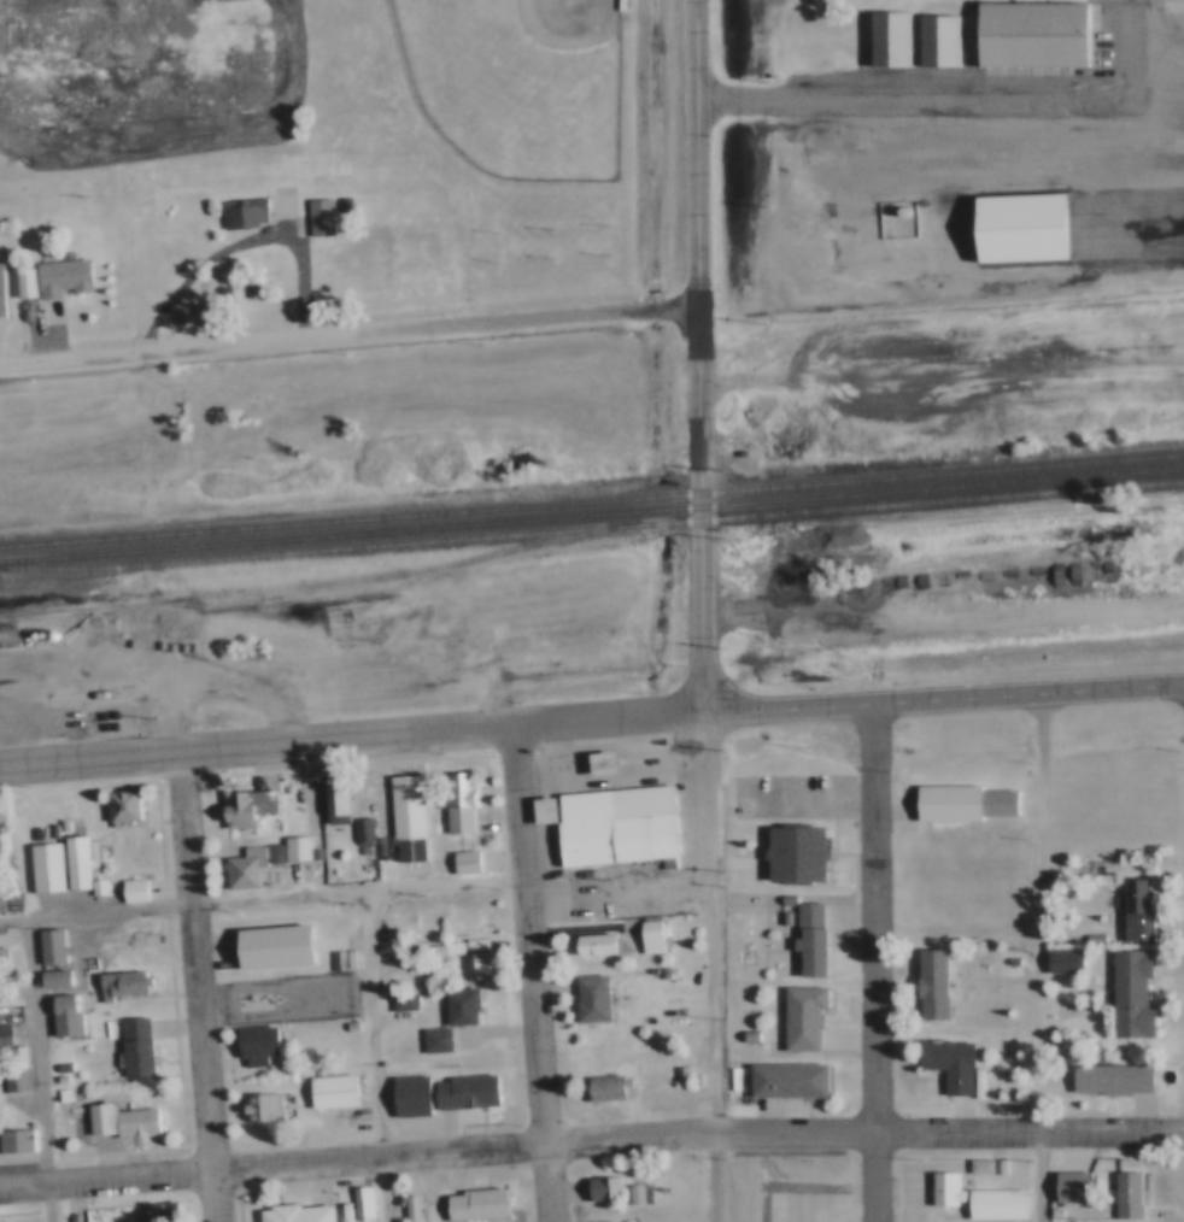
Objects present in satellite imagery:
building: (1030, 37)
building: (885, 41)
building: (934, 43)
park: (508, 81)
road: (934, 100)
storage tank: (893, 210)
building: (236, 211)
building: (315, 217)
building: (1020, 231)
building: (59, 278)
building: (22, 284)
building: (0, 305)
road: (351, 328)
road: (704, 356)
road: (944, 371)
building: (737, 454)
railway: (592, 499)
railway: (592, 513)
railway: (339, 577)
building: (2, 634)
silo: (2, 634)
road: (591, 719)
building: (599, 765)
building: (452, 801)
building: (332, 803)
building: (960, 805)
building: (121, 807)
building: (239, 809)
building: (540, 812)
building: (403, 818)
building: (614, 827)
building: (365, 829)
building: (357, 833)
building: (291, 848)
building: (793, 857)
building: (459, 862)
building: (72, 864)
building: (246, 864)
building: (43, 869)
building: (93, 887)
building: (129, 891)
road: (264, 898)
building: (783, 901)
building: (0, 907)
building: (482, 911)
building: (1131, 912)
building: (779, 918)
building: (646, 934)
building: (807, 940)
building: (469, 944)
building: (447, 946)
building: (592, 946)
building: (47, 947)
building: (272, 948)
building: (330, 957)
building: (342, 957)
road: (1044, 958)
building: (1060, 958)
building: (0, 962)
road: (879, 963)
building: (475, 964)
road: (719, 965)
road: (537, 974)
building: (51, 979)
building: (118, 985)
building: (928, 987)
road: (199, 988)
building: (1126, 997)
building: (588, 998)
building: (256, 999)
building: (398, 999)
building: (458, 1006)
building: (61, 1016)
building: (799, 1018)
building: (345, 1024)
building: (2, 1036)
building: (745, 1036)
building: (430, 1040)
building: (253, 1046)
building: (130, 1048)
road: (376, 1056)
building: (945, 1064)
building: (57, 1065)
road: (43, 1069)
building: (283, 1076)
building: (676, 1076)
building: (57, 1077)
building: (10, 1080)
building: (1108, 1080)
building: (785, 1081)
building: (74, 1088)
building: (603, 1088)
building: (328, 1091)
building: (463, 1092)
building: (58, 1094)
building: (404, 1095)
building: (257, 1106)
building: (117, 1122)
building: (12, 1140)
road: (591, 1142)
building: (975, 1165)
building: (992, 1165)
building: (598, 1188)
building: (1068, 1188)
building: (940, 1191)
building: (629, 1194)
building: (1121, 1195)
building: (356, 1203)
building: (365, 1203)
building: (991, 1204)
building: (474, 1205)
building: (406, 1209)
building: (156, 1211)
building: (292, 1214)
building: (619, 1220)
building: (608, 1221)
building: (1101, 1221)

